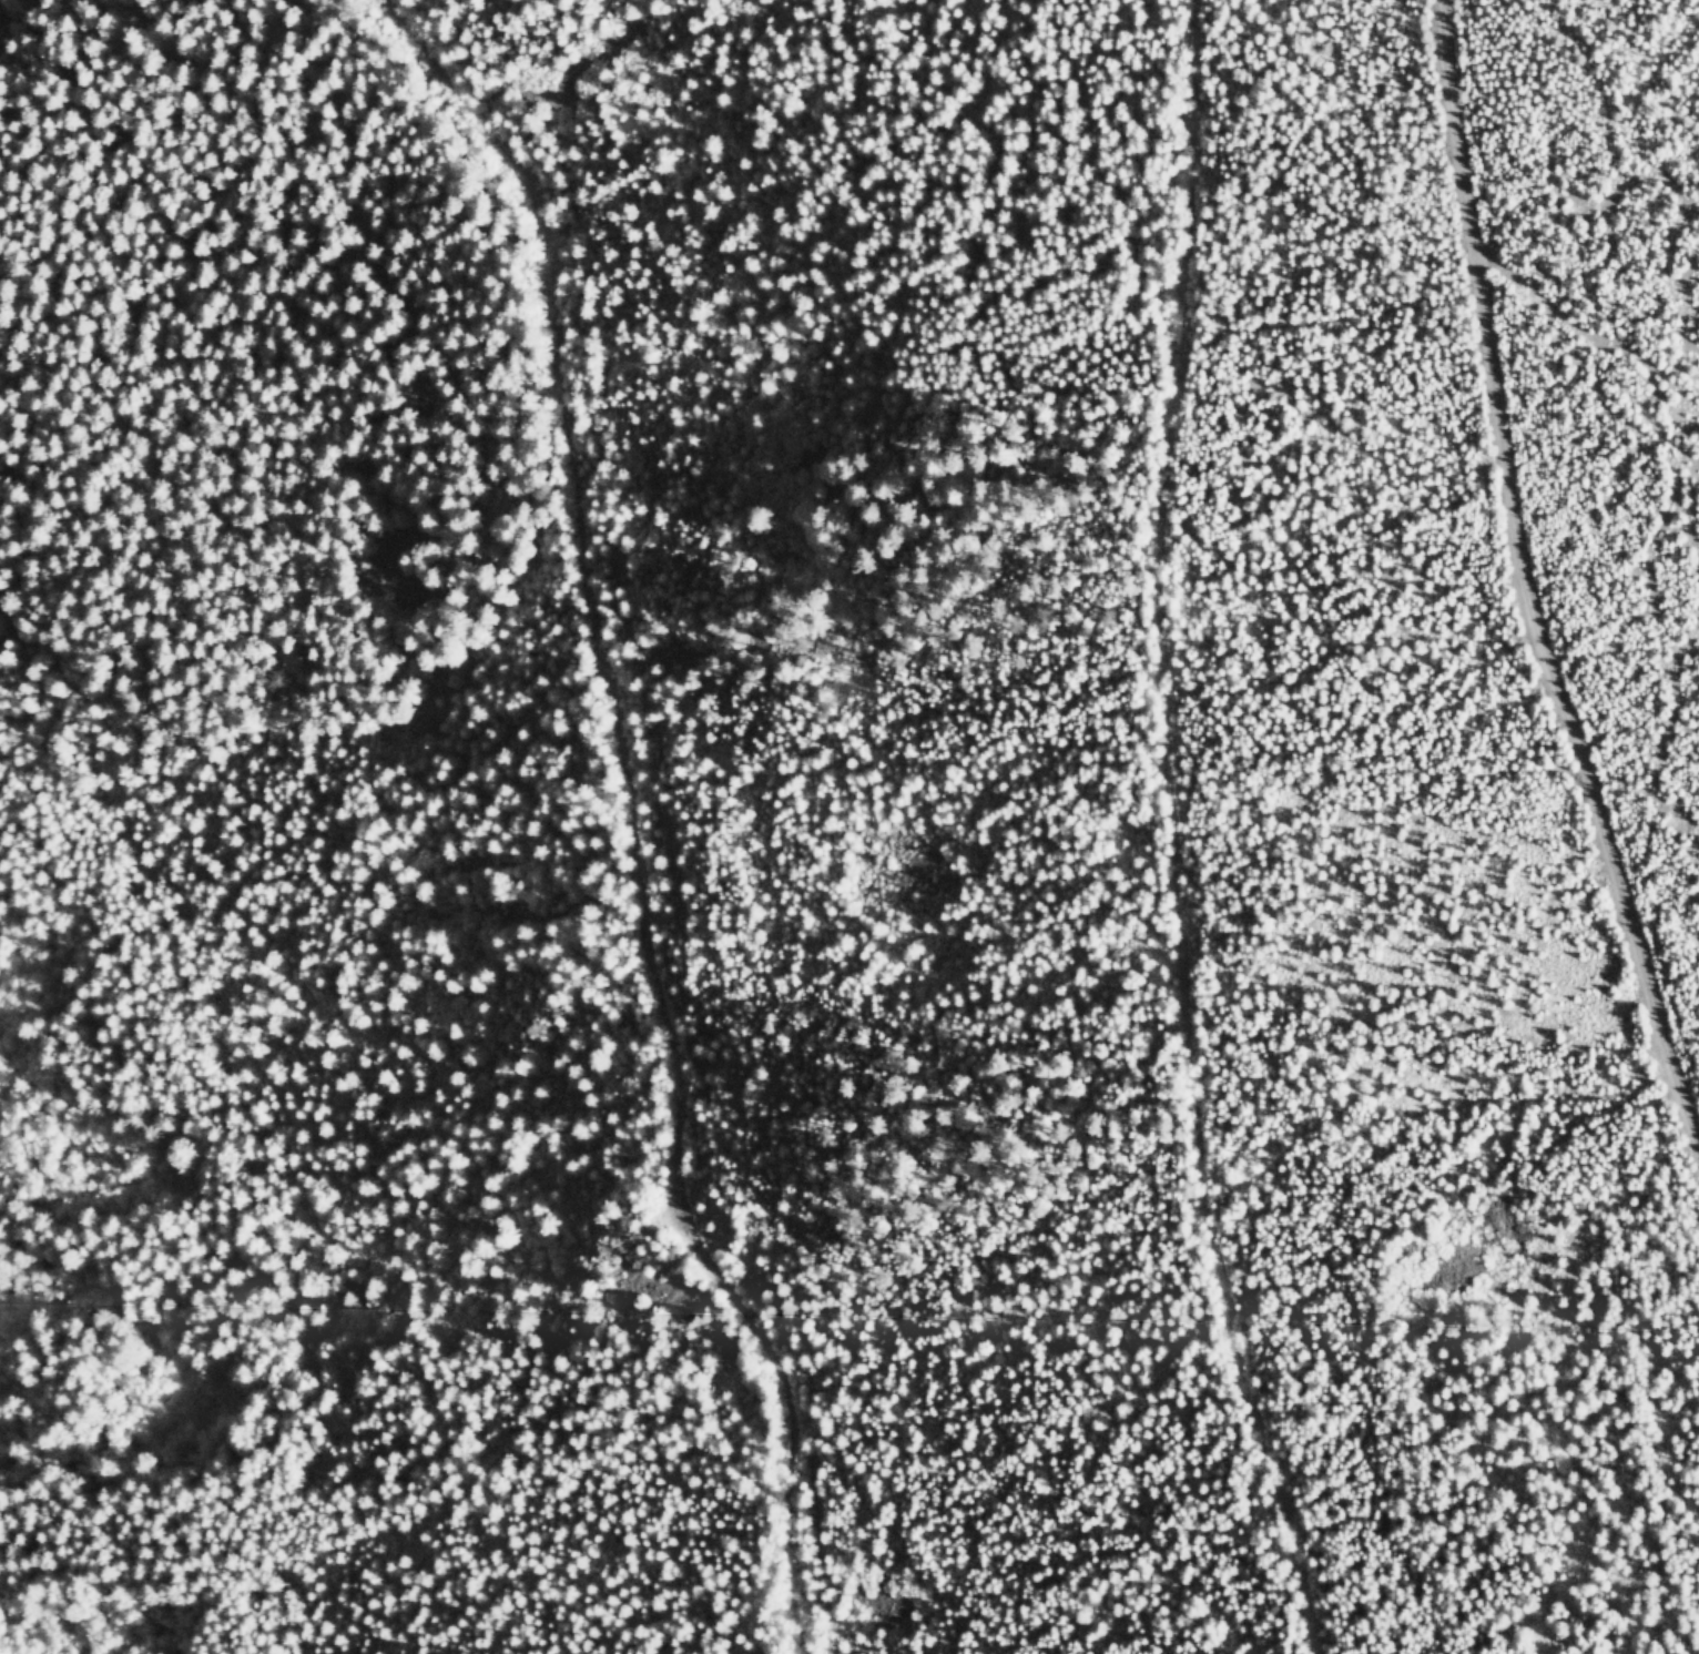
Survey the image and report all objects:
road: (1526, 586)
road: (573, 820)
road: (1161, 834)

